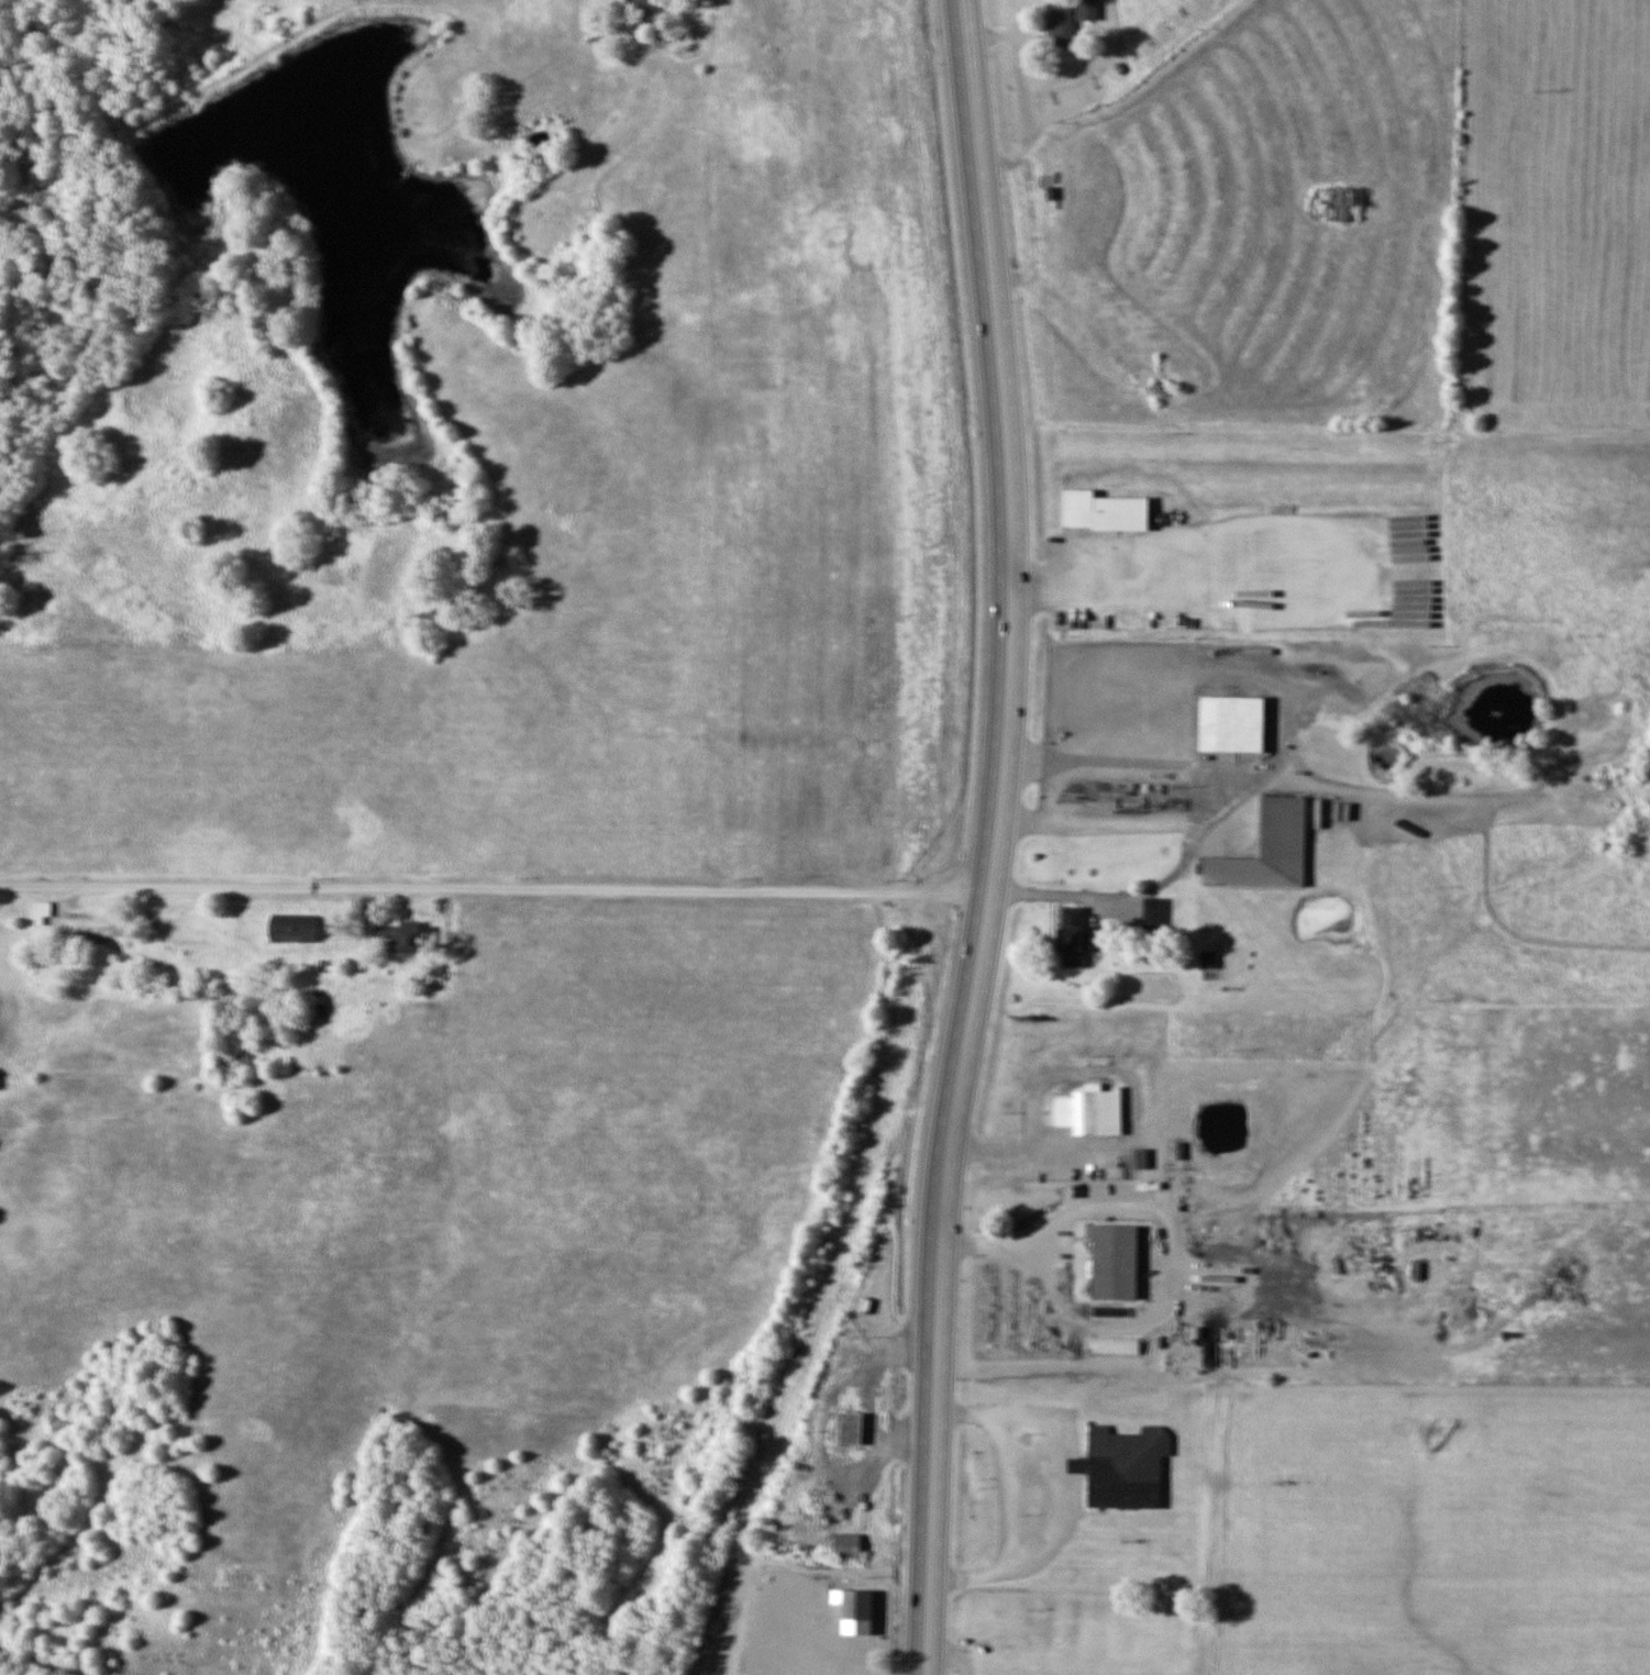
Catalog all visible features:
building: (651, 9)
building: (1087, 9)
building: (1061, 22)
building: (1344, 203)
building: (1104, 510)
building: (1128, 702)
building: (1231, 723)
building: (1188, 726)
road: (995, 837)
building: (1269, 848)
road: (495, 888)
building: (41, 911)
building: (1154, 913)
building: (93, 924)
building: (295, 928)
building: (1073, 935)
building: (410, 938)
building: (329, 966)
building: (1095, 1106)
building: (1176, 1151)
building: (1139, 1158)
building: (1119, 1254)
building: (1416, 1269)
building: (853, 1429)
building: (1127, 1462)
building: (848, 1545)
building: (857, 1605)

